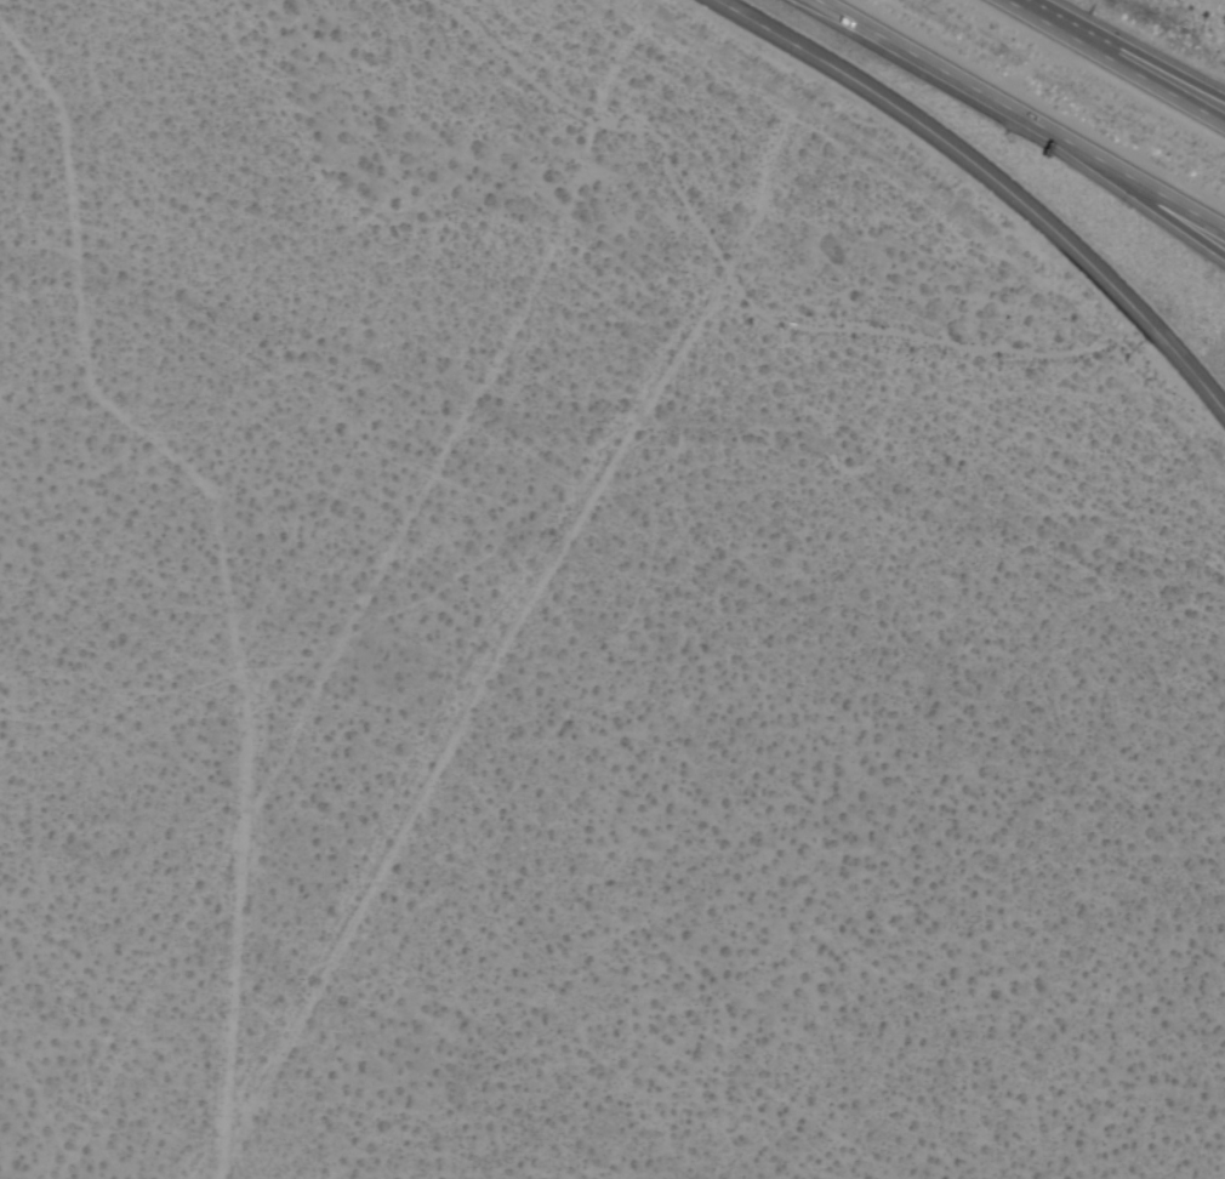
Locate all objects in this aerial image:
road: (1115, 62)
road: (1157, 75)
road: (1029, 109)
road: (953, 150)
road: (1163, 199)
road: (1174, 352)
road: (1204, 386)

